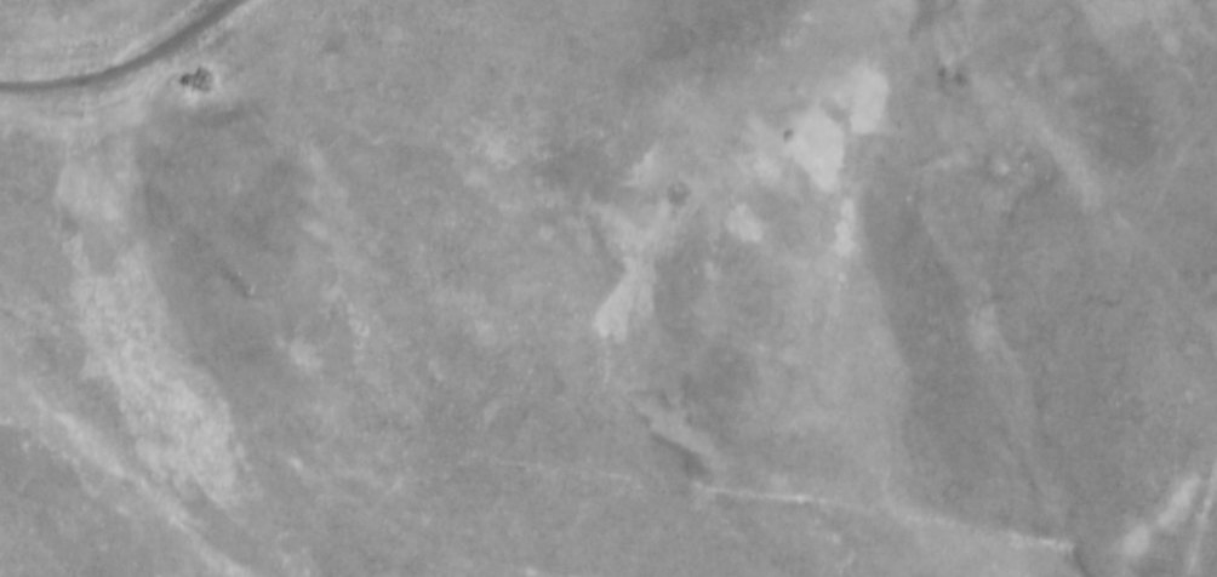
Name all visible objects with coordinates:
road: (116, 63)

